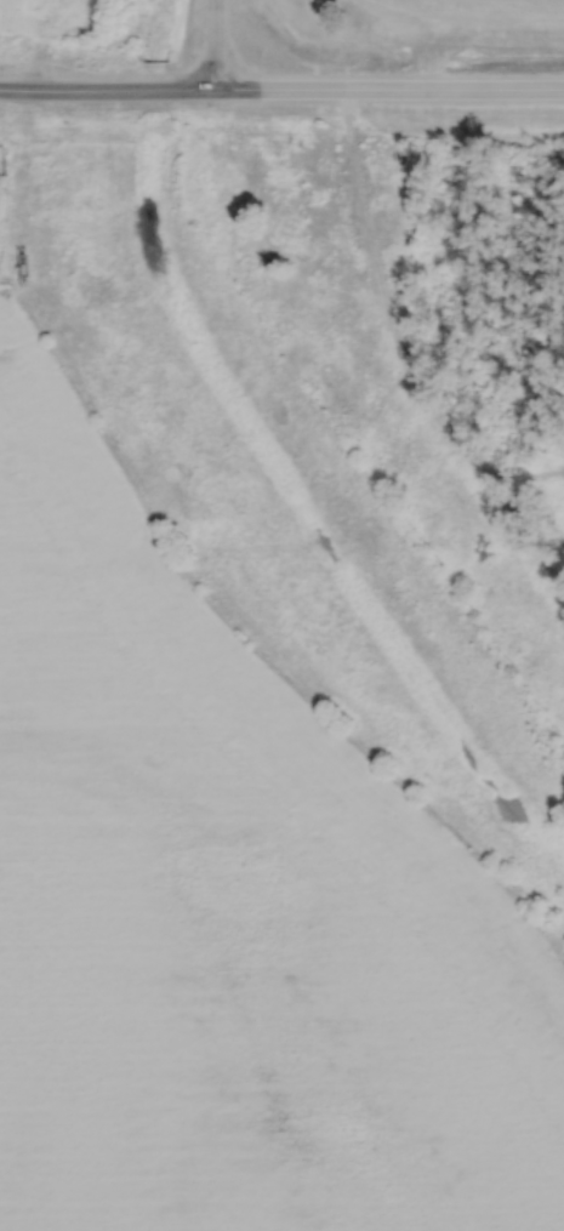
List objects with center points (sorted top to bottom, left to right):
crop: (47, 17)
road: (216, 44)
road: (281, 87)
road: (404, 360)
road: (525, 474)
crop: (228, 908)

